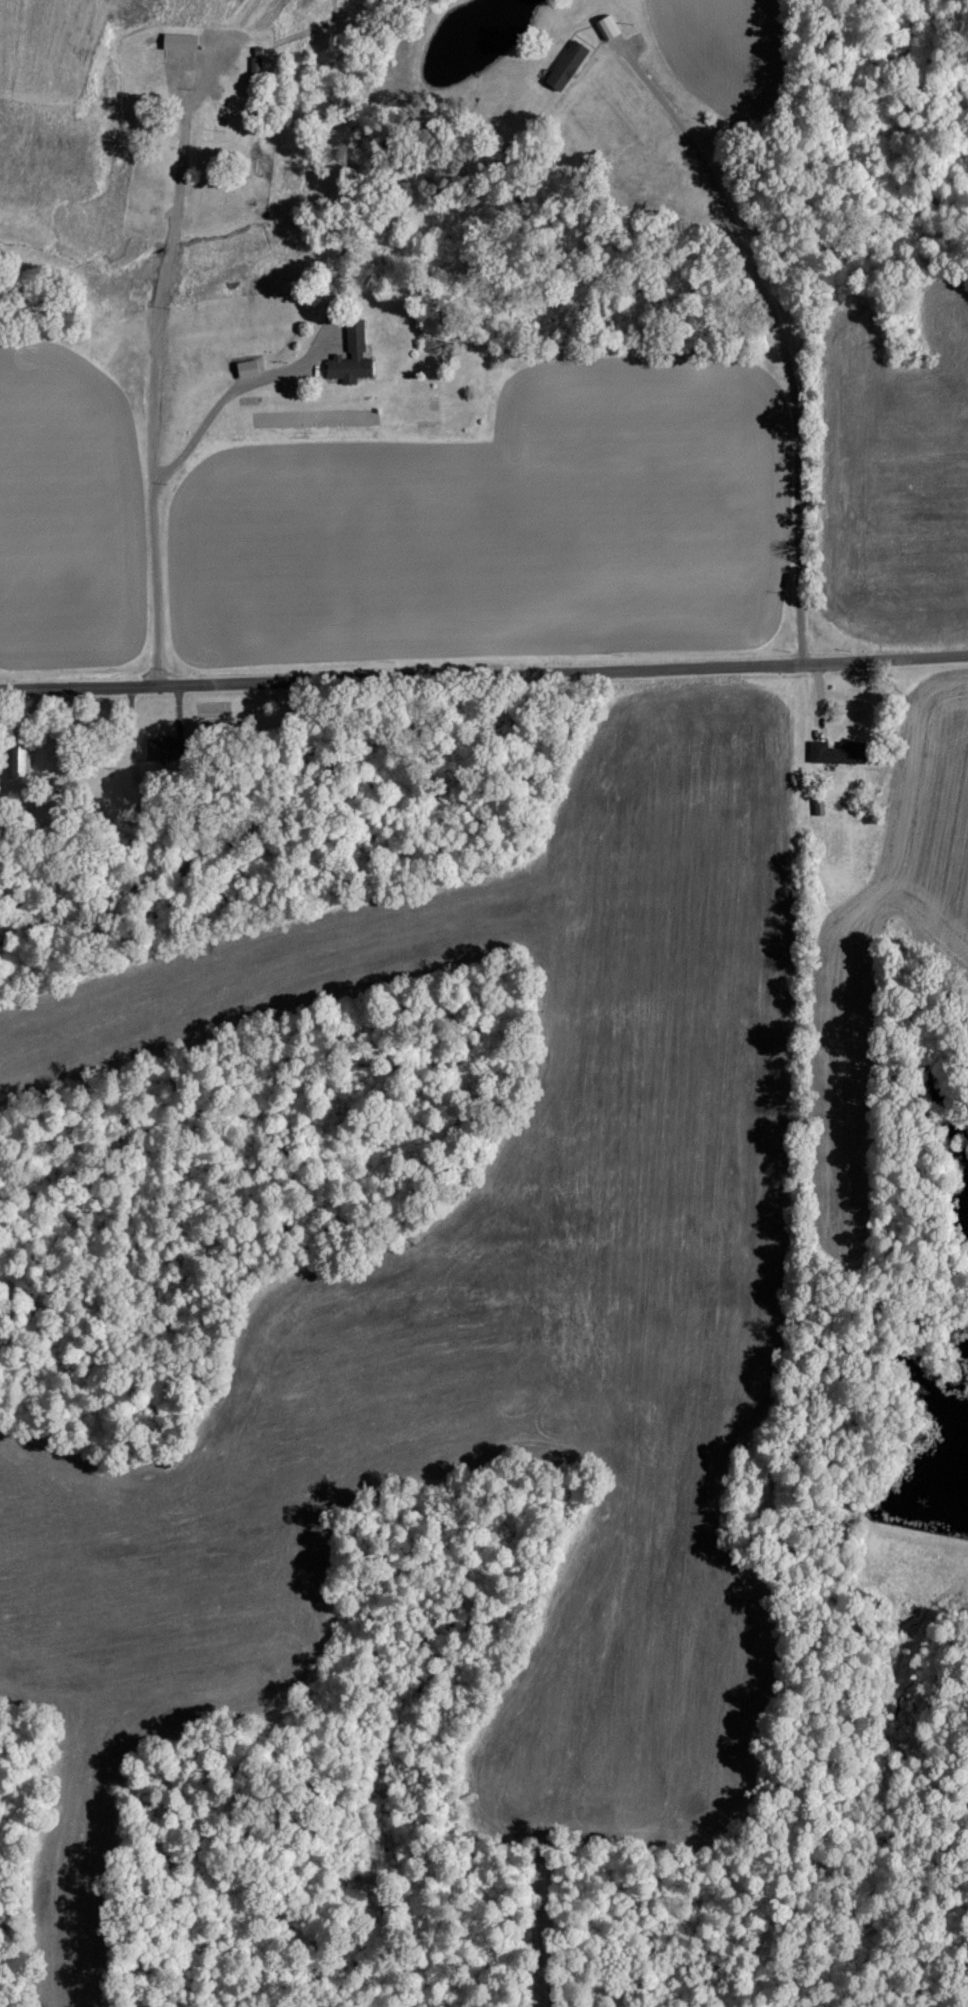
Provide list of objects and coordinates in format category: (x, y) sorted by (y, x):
building: (608, 27)
building: (179, 42)
building: (256, 65)
building: (566, 66)
road: (774, 329)
building: (351, 356)
building: (247, 367)
road: (157, 374)
road: (233, 390)
road: (484, 675)
building: (161, 747)
building: (837, 752)
building: (22, 761)

